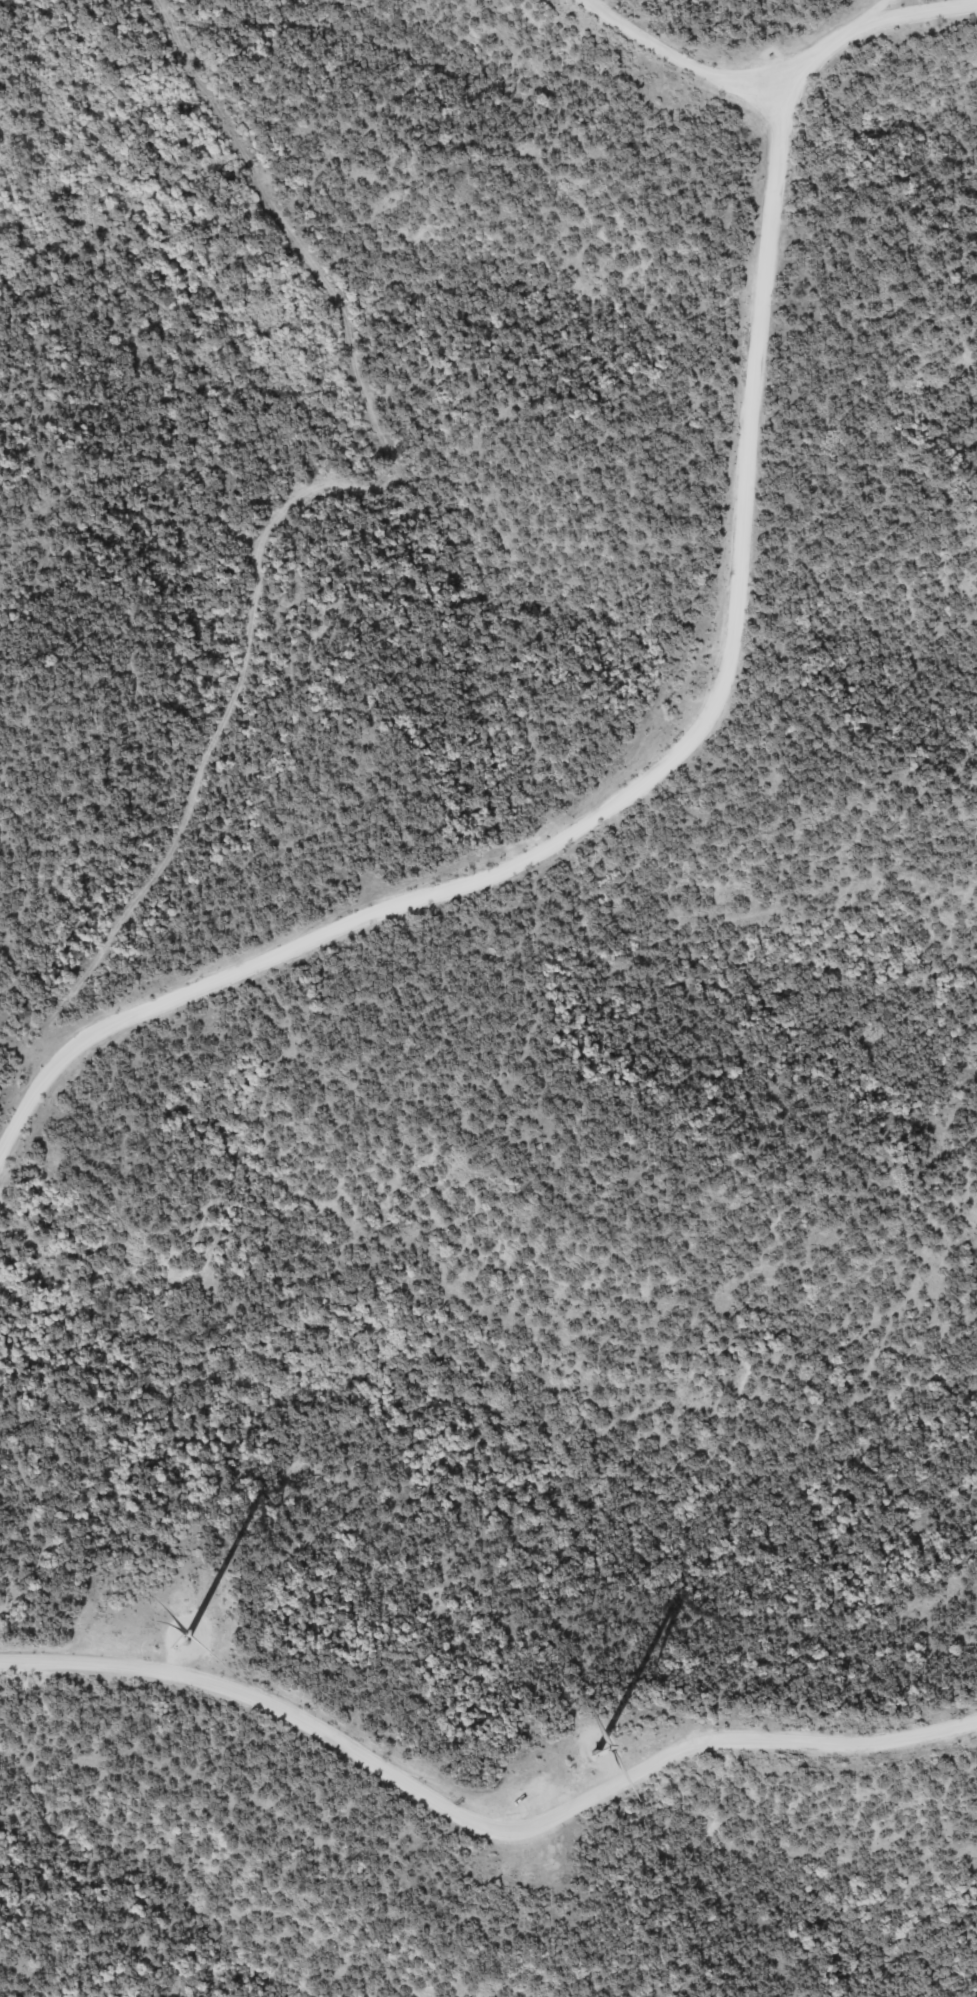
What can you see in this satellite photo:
road: (704, 729)
wind turbine: (173, 1626)
wind turbine: (575, 1739)
road: (486, 1831)

